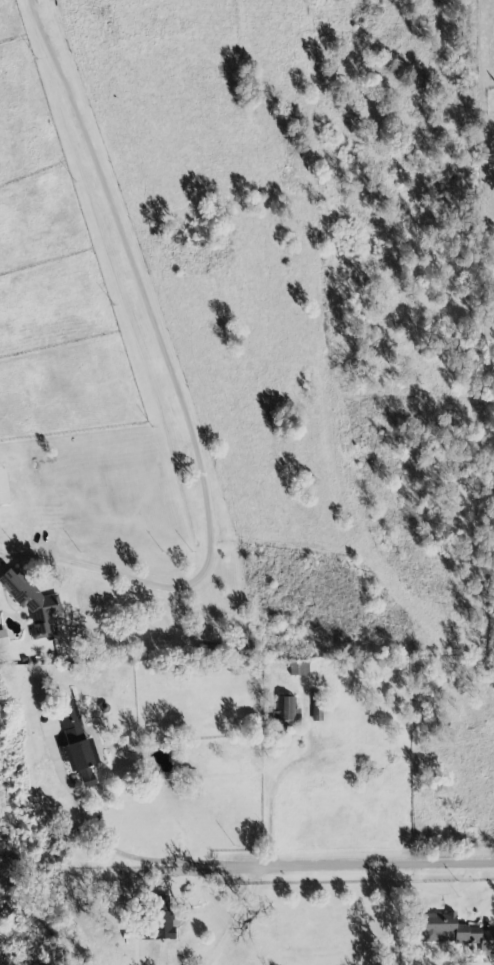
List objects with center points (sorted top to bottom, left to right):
road: (442, 389)
road: (183, 390)
building: (4, 487)
building: (33, 604)
building: (303, 668)
building: (287, 709)
building: (78, 746)
road: (48, 747)
road: (270, 801)
road: (304, 865)
road: (236, 919)
building: (160, 922)
building: (455, 932)

